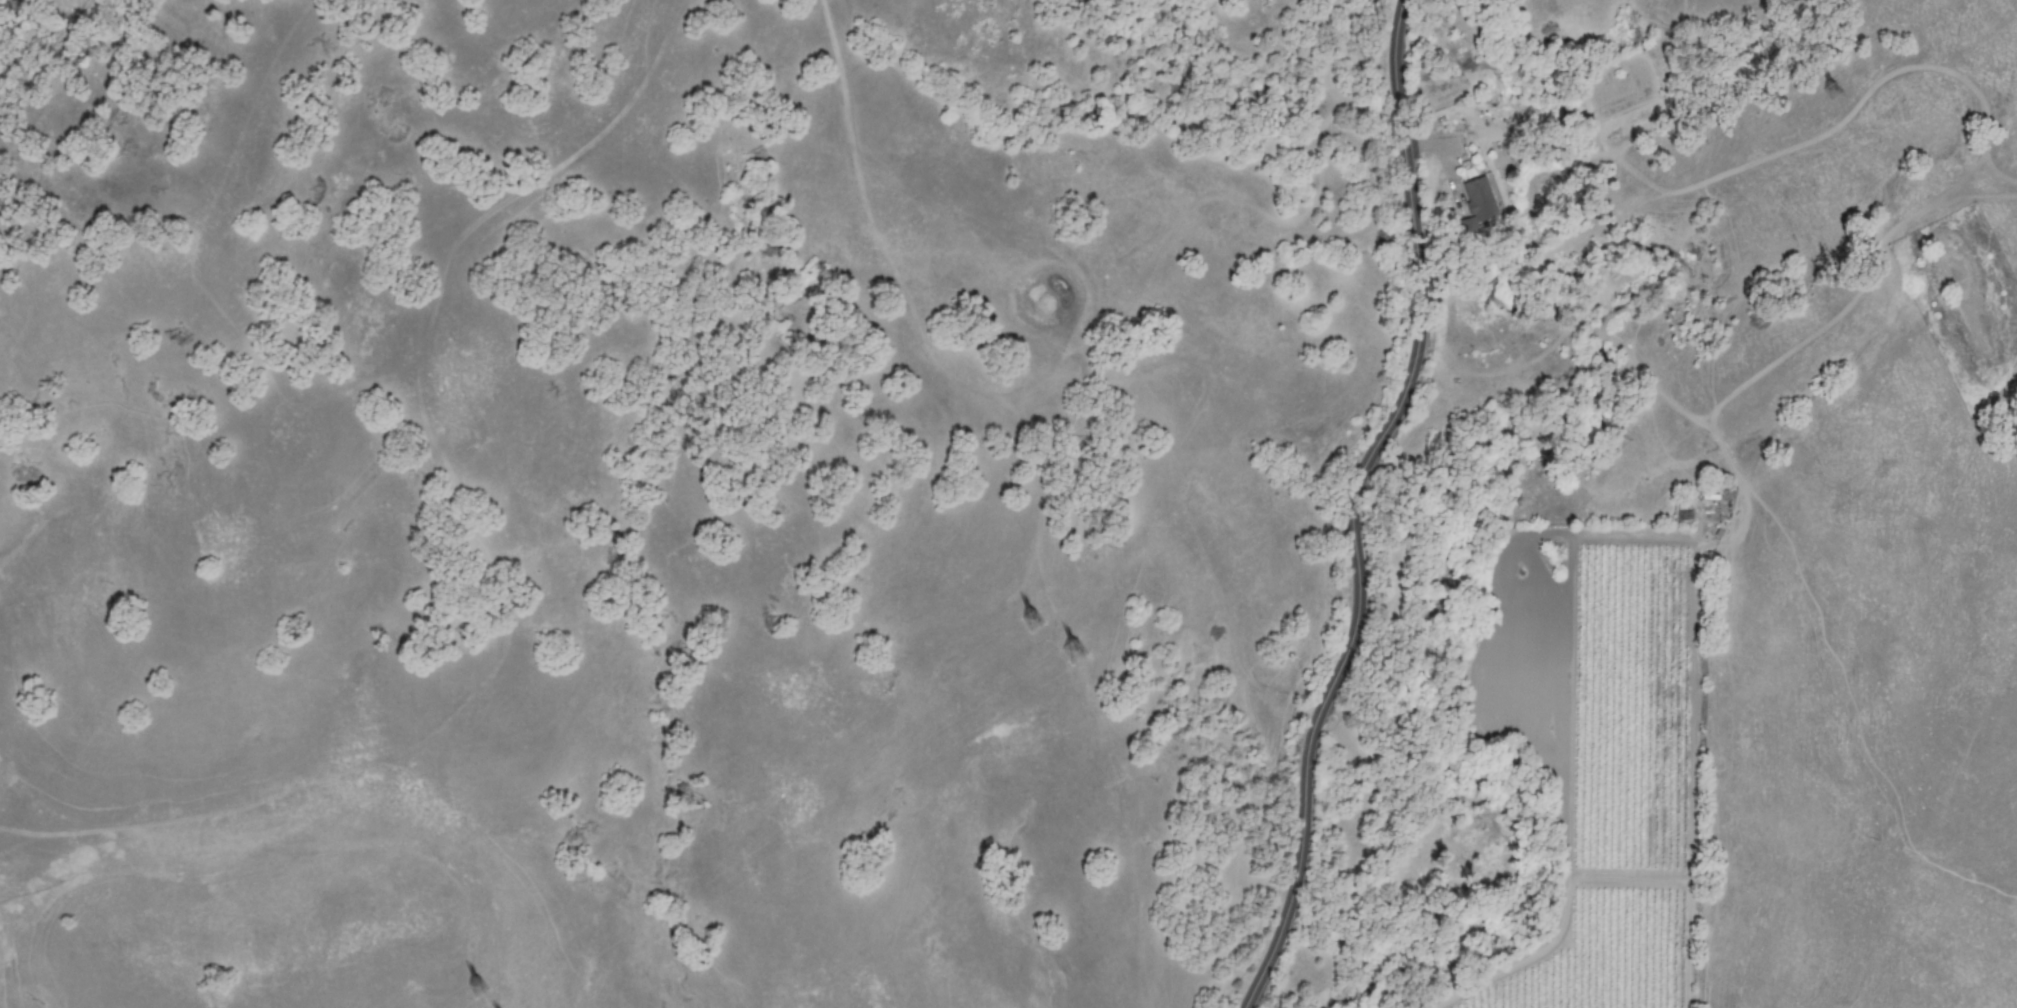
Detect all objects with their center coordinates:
power tower: (1834, 84)
road: (1364, 504)
road: (1530, 536)
power tower: (1030, 613)
power tower: (1071, 643)
power tower: (477, 978)

